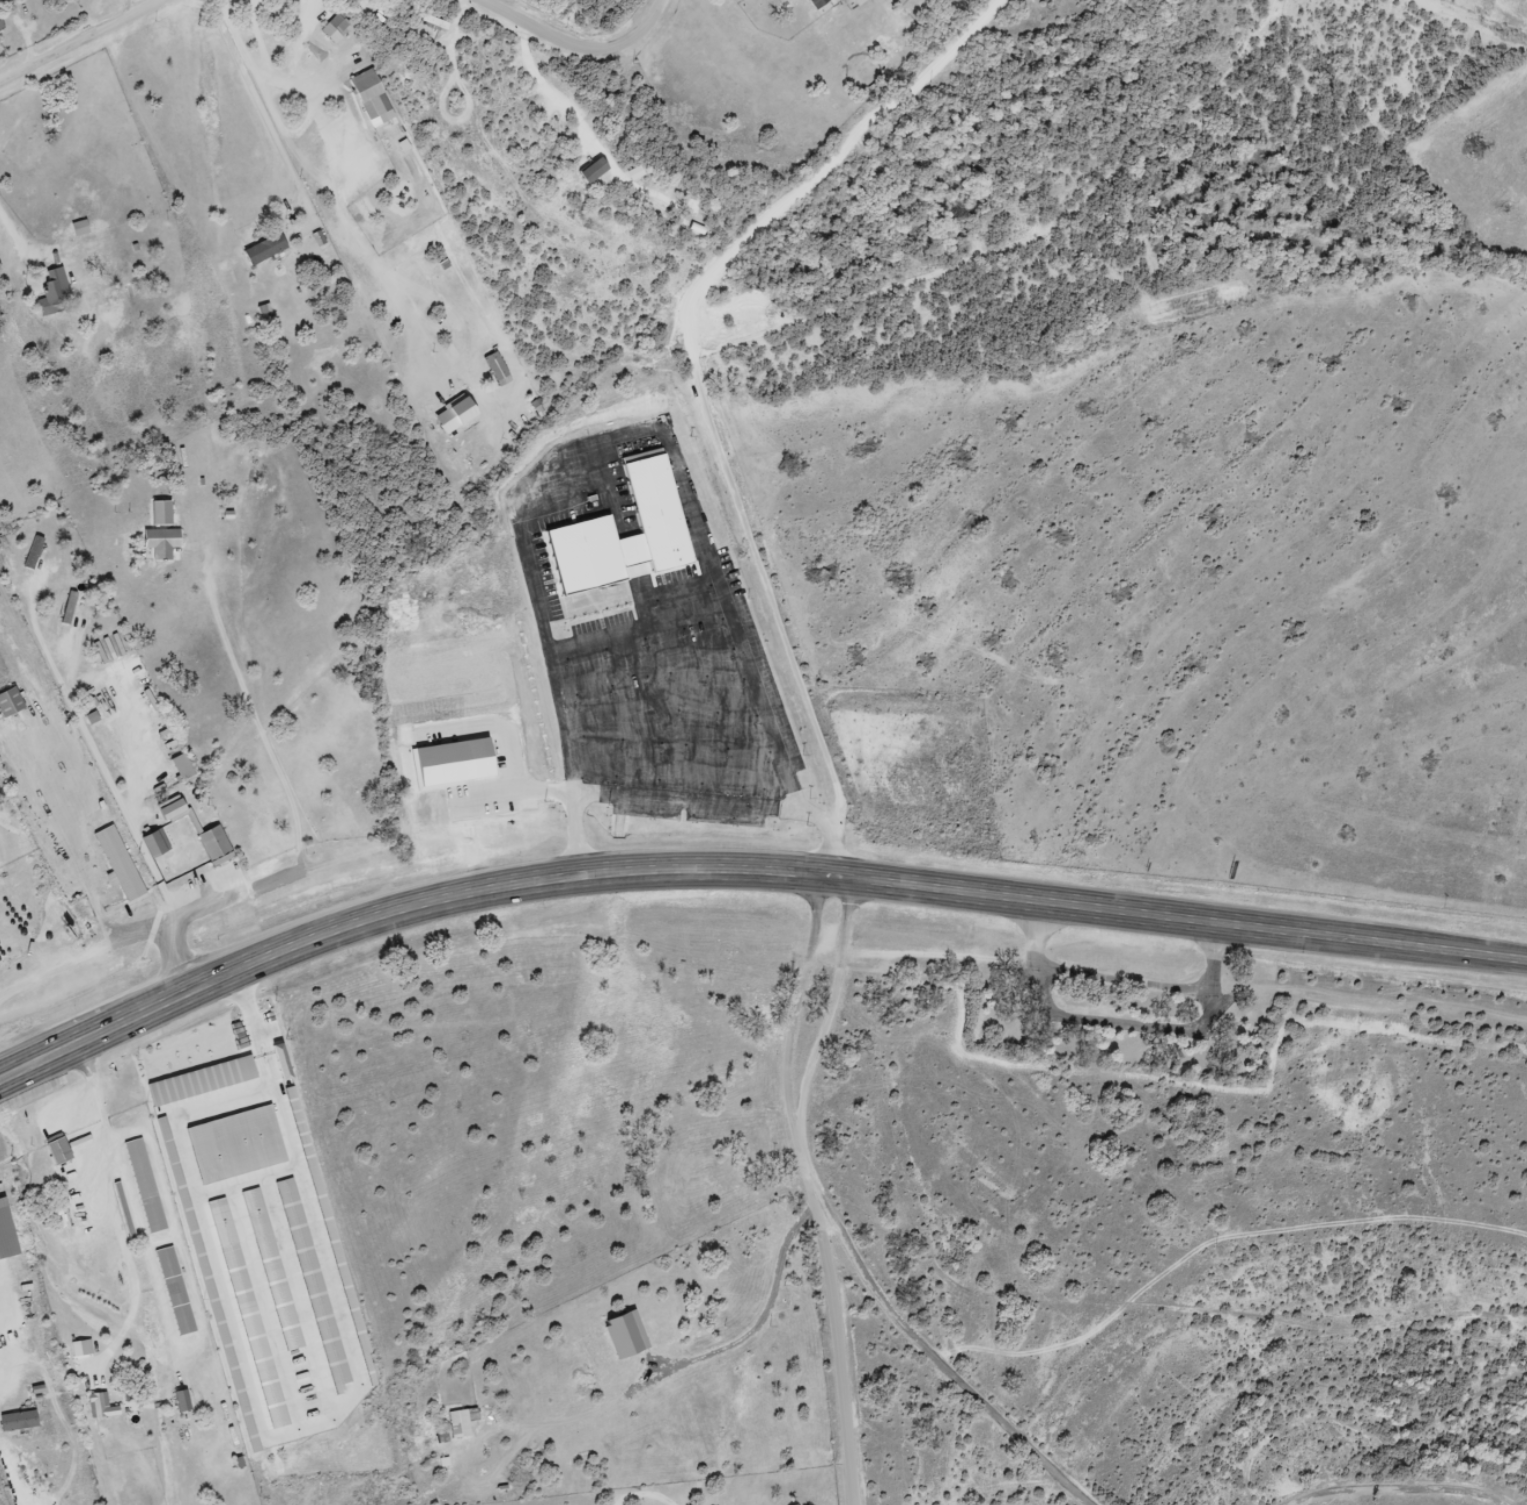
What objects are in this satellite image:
building: (815, 3)
building: (433, 22)
building: (0, 28)
building: (325, 33)
road: (79, 40)
road: (581, 41)
building: (589, 171)
building: (77, 229)
building: (262, 249)
building: (51, 294)
building: (157, 513)
building: (661, 523)
building: (158, 543)
building: (592, 560)
building: (8, 702)
building: (178, 767)
building: (150, 845)
building: (212, 846)
building: (117, 864)
road: (755, 873)
road: (1020, 959)
road: (805, 993)
road: (835, 996)
road: (1130, 1023)
road: (8, 1076)
building: (56, 1150)
building: (143, 1186)
road: (113, 1214)
building: (4, 1236)
building: (172, 1292)
road: (836, 1307)
road: (1248, 1327)
road: (939, 1354)
building: (179, 1401)
building: (97, 1406)
building: (16, 1421)
road: (1402, 1478)
road: (1020, 1483)
road: (1454, 1492)

